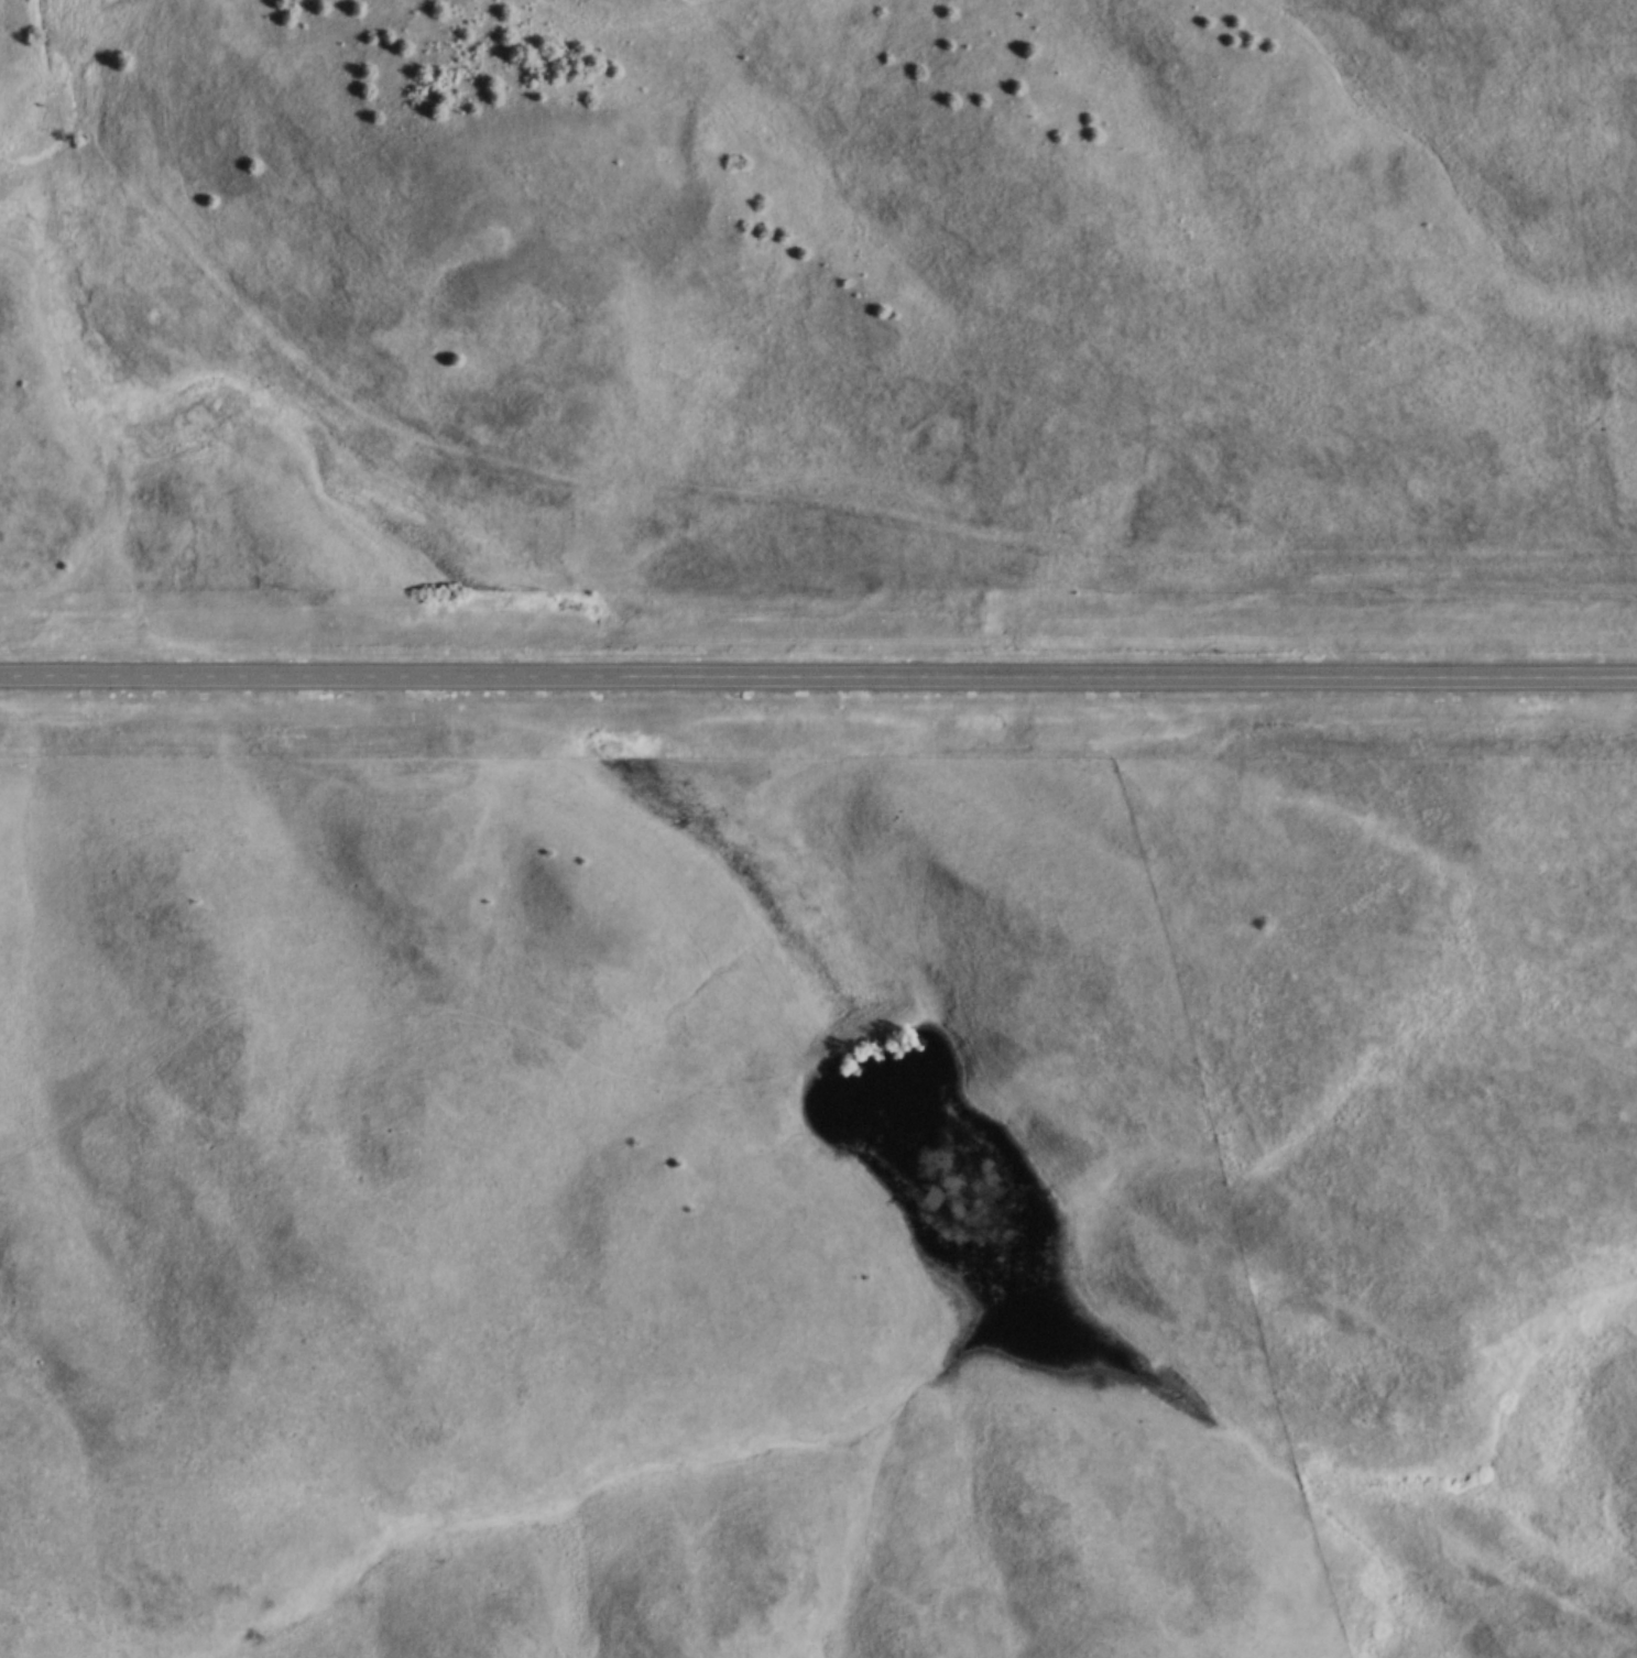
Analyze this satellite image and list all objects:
road: (818, 680)

